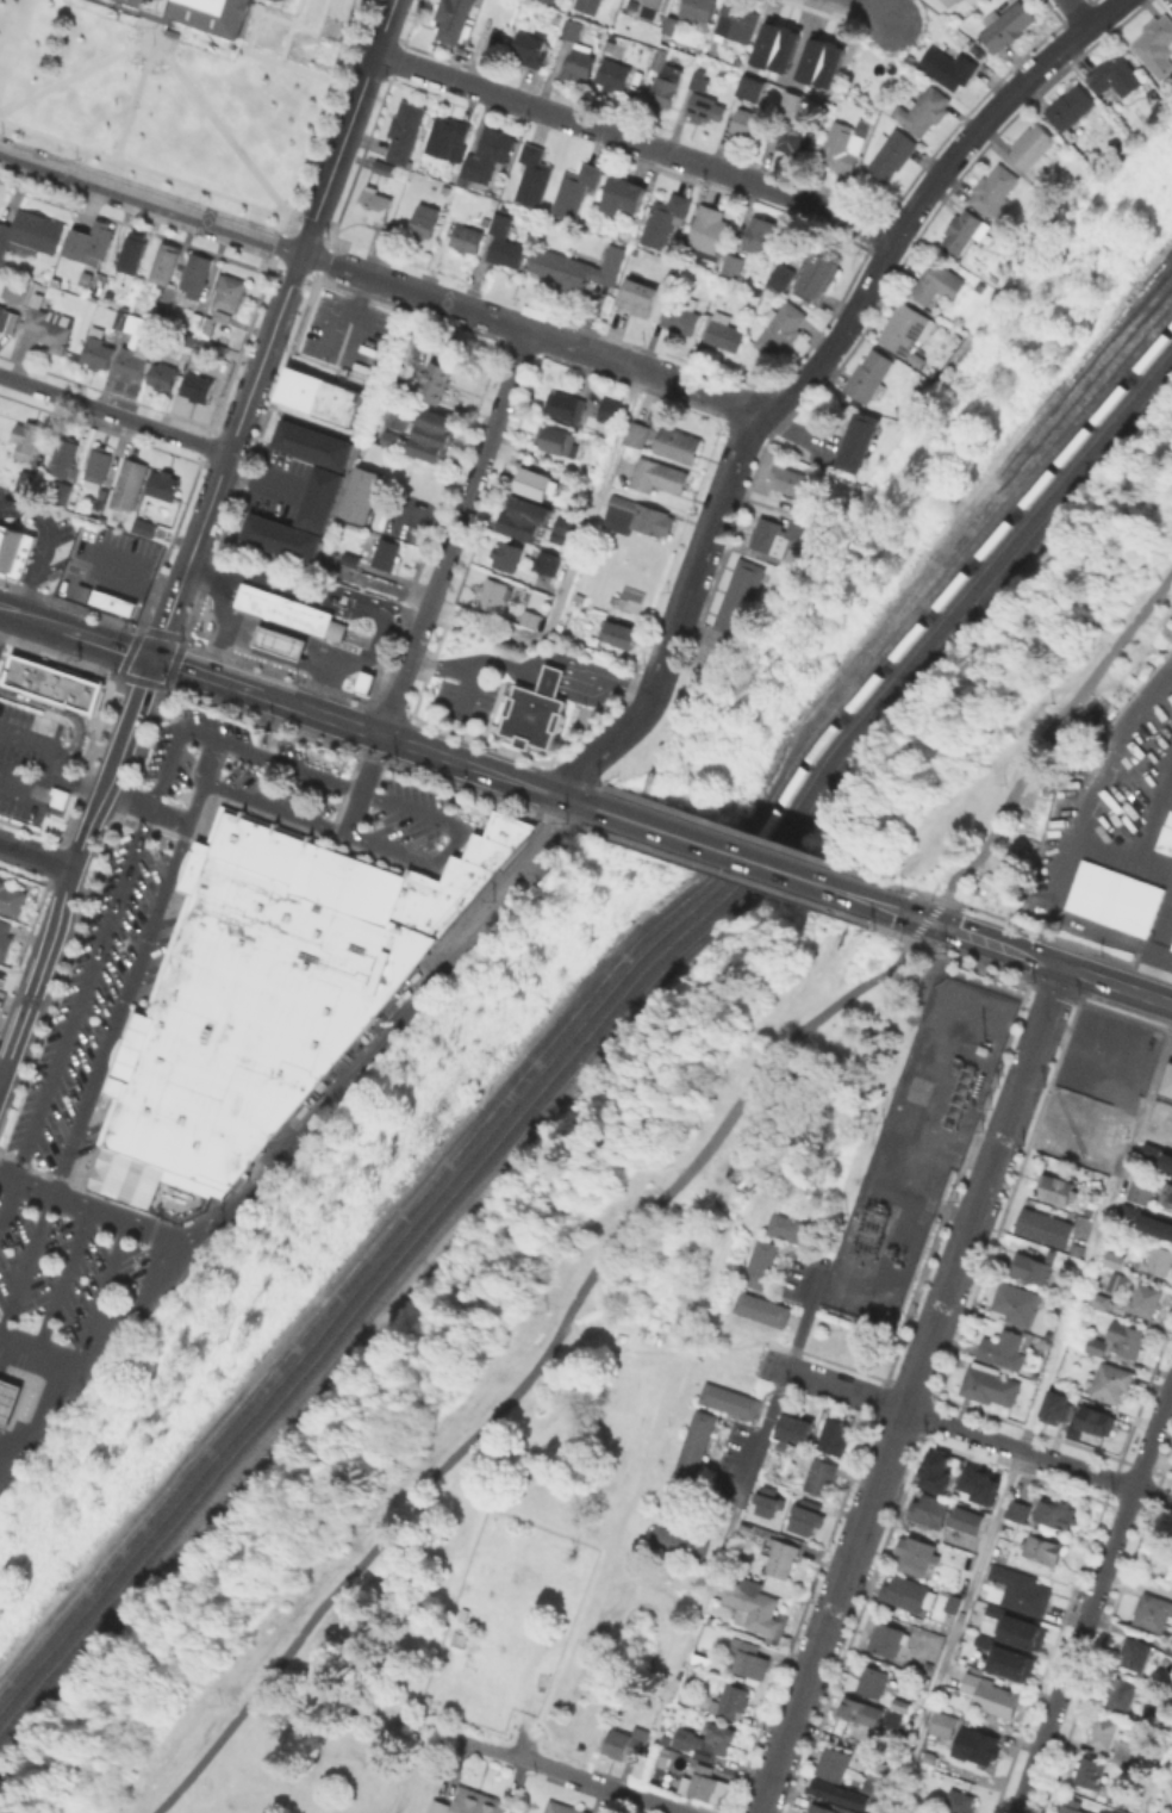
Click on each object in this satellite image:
building: (551, 0)
building: (968, 0)
building: (972, 1)
building: (653, 2)
building: (950, 2)
building: (588, 5)
building: (1170, 6)
building: (697, 8)
road: (872, 8)
building: (202, 12)
road: (1076, 14)
building: (454, 19)
building: (740, 19)
building: (669, 24)
building: (1005, 25)
building: (765, 42)
building: (827, 42)
building: (1155, 44)
building: (784, 46)
building: (534, 50)
building: (576, 51)
building: (660, 58)
building: (810, 58)
building: (828, 63)
building: (948, 67)
road: (431, 73)
building: (613, 74)
building: (1115, 75)
building: (699, 79)
building: (666, 86)
building: (750, 87)
building: (793, 103)
building: (705, 107)
building: (1071, 108)
building: (923, 110)
road: (562, 118)
building: (747, 123)
building: (405, 130)
building: (448, 136)
building: (796, 137)
building: (842, 148)
building: (1035, 149)
building: (891, 153)
building: (486, 155)
road: (694, 163)
building: (384, 166)
building: (534, 176)
building: (993, 187)
building: (574, 190)
road: (924, 192)
building: (623, 194)
road: (150, 203)
building: (374, 203)
road: (823, 209)
building: (665, 219)
building: (424, 223)
building: (710, 230)
building: (964, 230)
building: (760, 232)
building: (30, 234)
building: (467, 236)
building: (91, 240)
building: (504, 241)
building: (132, 252)
building: (731, 263)
building: (581, 267)
building: (166, 271)
building: (197, 273)
building: (818, 273)
building: (781, 275)
building: (936, 284)
building: (15, 291)
building: (230, 291)
building: (637, 297)
road: (435, 298)
building: (2, 311)
building: (223, 315)
building: (682, 315)
building: (197, 319)
building: (49, 323)
building: (207, 324)
building: (906, 327)
road: (274, 328)
building: (780, 328)
building: (724, 334)
building: (211, 346)
building: (132, 347)
building: (98, 349)
road: (604, 356)
building: (163, 374)
building: (869, 374)
building: (435, 380)
building: (198, 385)
road: (700, 389)
railway: (1047, 398)
building: (324, 401)
building: (566, 405)
building: (610, 409)
road: (114, 414)
building: (398, 417)
road: (788, 427)
building: (637, 433)
building: (432, 436)
building: (26, 437)
building: (559, 440)
building: (391, 441)
road: (740, 441)
building: (860, 441)
building: (675, 442)
building: (311, 443)
building: (64, 454)
railway: (1020, 466)
building: (98, 468)
building: (659, 474)
building: (790, 478)
building: (26, 480)
building: (536, 482)
building: (163, 483)
road: (261, 483)
building: (576, 485)
building: (130, 486)
building: (61, 490)
building: (362, 493)
railway: (983, 495)
building: (318, 497)
building: (806, 509)
building: (525, 520)
building: (642, 521)
building: (142, 526)
road: (43, 528)
building: (563, 532)
road: (453, 533)
building: (783, 534)
building: (279, 536)
road: (51, 541)
road: (704, 546)
building: (17, 551)
building: (386, 552)
building: (507, 553)
road: (574, 561)
road: (227, 575)
building: (542, 580)
road: (331, 592)
building: (493, 592)
building: (107, 597)
building: (743, 597)
building: (628, 598)
building: (282, 607)
road: (219, 611)
building: (531, 616)
road: (4, 619)
building: (619, 632)
building: (278, 640)
road: (669, 641)
road: (368, 651)
road: (562, 657)
traffic signals: (155, 658)
road: (288, 660)
road: (441, 662)
road: (528, 670)
road: (549, 677)
building: (51, 682)
building: (369, 685)
road: (463, 687)
road: (604, 690)
road: (278, 701)
road: (58, 708)
building: (534, 708)
road: (1048, 733)
road: (213, 735)
road: (615, 737)
road: (1110, 744)
park: (1036, 753)
parking lot: (20, 756)
road: (49, 764)
road: (202, 776)
parking lot: (288, 777)
road: (362, 784)
road: (118, 791)
road: (575, 802)
building: (507, 827)
road: (662, 831)
building: (1166, 834)
road: (1152, 836)
building: (487, 850)
road: (36, 857)
road: (73, 868)
road: (803, 880)
building: (438, 894)
building: (1117, 894)
road: (1052, 896)
building: (11, 898)
road: (902, 913)
road: (927, 919)
building: (5, 943)
road: (995, 944)
building: (1171, 954)
road: (1158, 955)
road: (935, 963)
road: (1117, 985)
building: (255, 995)
parking lot: (85, 996)
railway: (585, 998)
railway: (585, 1016)
road: (384, 1029)
railway: (586, 1033)
railway: (586, 1053)
road: (94, 1074)
building: (1167, 1085)
building: (1127, 1098)
building: (1171, 1144)
power substation: (915, 1147)
building: (1157, 1159)
building: (125, 1175)
building: (1055, 1187)
building: (1142, 1191)
building: (1168, 1192)
road: (88, 1203)
building: (1145, 1223)
building: (1045, 1225)
building: (792, 1228)
building: (1114, 1258)
building: (1159, 1259)
parking lot: (61, 1266)
building: (1031, 1266)
building: (758, 1272)
road: (63, 1273)
building: (1114, 1281)
road: (101, 1286)
building: (1143, 1298)
road: (146, 1299)
building: (1099, 1299)
building: (1018, 1302)
road: (808, 1304)
building: (1126, 1337)
road: (37, 1343)
road: (669, 1345)
building: (1096, 1345)
building: (1006, 1347)
road: (531, 1372)
building: (1109, 1380)
building: (989, 1385)
road: (833, 1386)
road: (910, 1390)
building: (7, 1396)
gas station: (7, 1396)
building: (728, 1399)
building: (1056, 1407)
building: (1096, 1418)
road: (1030, 1421)
building: (797, 1429)
road: (961, 1429)
building: (836, 1436)
building: (781, 1448)
park: (536, 1461)
building: (684, 1464)
building: (934, 1470)
building: (819, 1474)
road: (1096, 1474)
road: (744, 1476)
building: (978, 1484)
building: (767, 1505)
building: (933, 1510)
building: (1018, 1510)
building: (1058, 1514)
building: (806, 1520)
building: (968, 1520)
building: (677, 1541)
building: (1004, 1547)
building: (1043, 1547)
building: (915, 1554)
building: (783, 1559)
building: (1022, 1591)
building: (909, 1592)
road: (1093, 1597)
building: (949, 1602)
building: (754, 1607)
building: (992, 1609)
building: (1152, 1612)
building: (1020, 1631)
building: (889, 1639)
building: (981, 1640)
building: (1136, 1653)
building: (750, 1660)
building: (1009, 1662)
building: (873, 1682)
building: (1121, 1694)
building: (991, 1695)
building: (731, 1702)
building: (900, 1705)
building: (861, 1712)
building: (892, 1720)
building: (945, 1724)
building: (1104, 1732)
building: (706, 1741)
building: (626, 1743)
building: (983, 1746)
building: (1122, 1757)
building: (835, 1763)
road: (1155, 1769)
building: (1092, 1772)
road: (566, 1775)
building: (704, 1787)
building: (869, 1787)
building: (835, 1793)
building: (1120, 1796)
building: (474, 1801)
building: (875, 1801)
building: (960, 1802)
building: (435, 1806)
building: (561, 1808)
building: (519, 1809)
building: (821, 1809)
building: (1072, 1809)
building: (1115, 1812)

